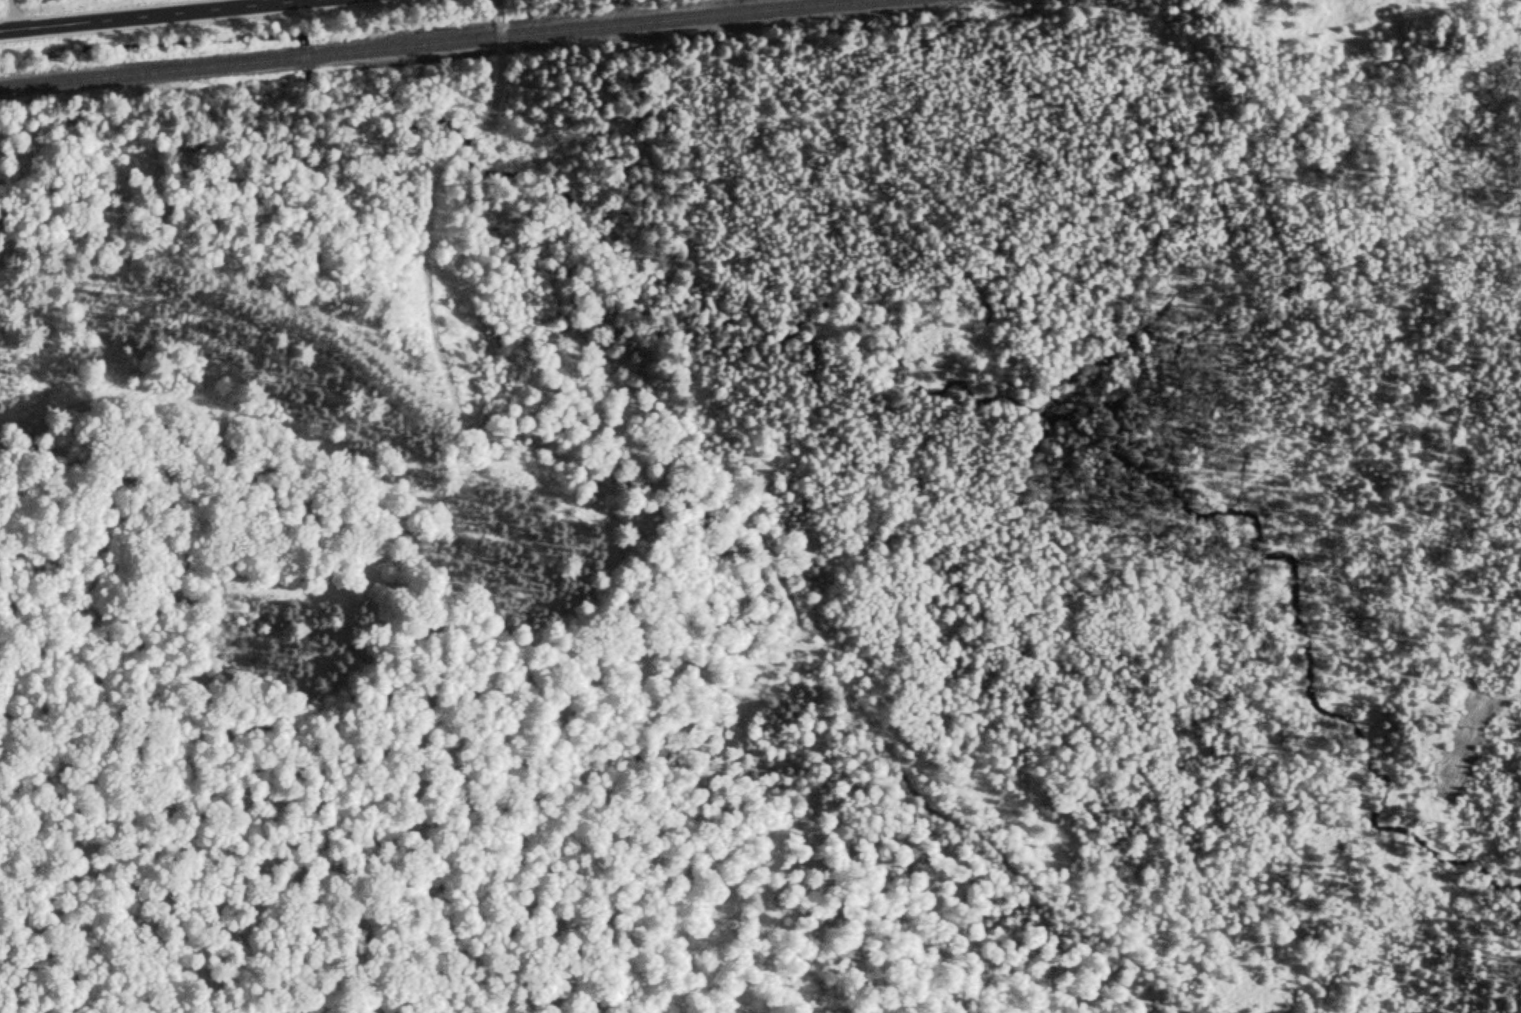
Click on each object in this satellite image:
road: (154, 15)
railway: (430, 44)
road: (430, 193)

